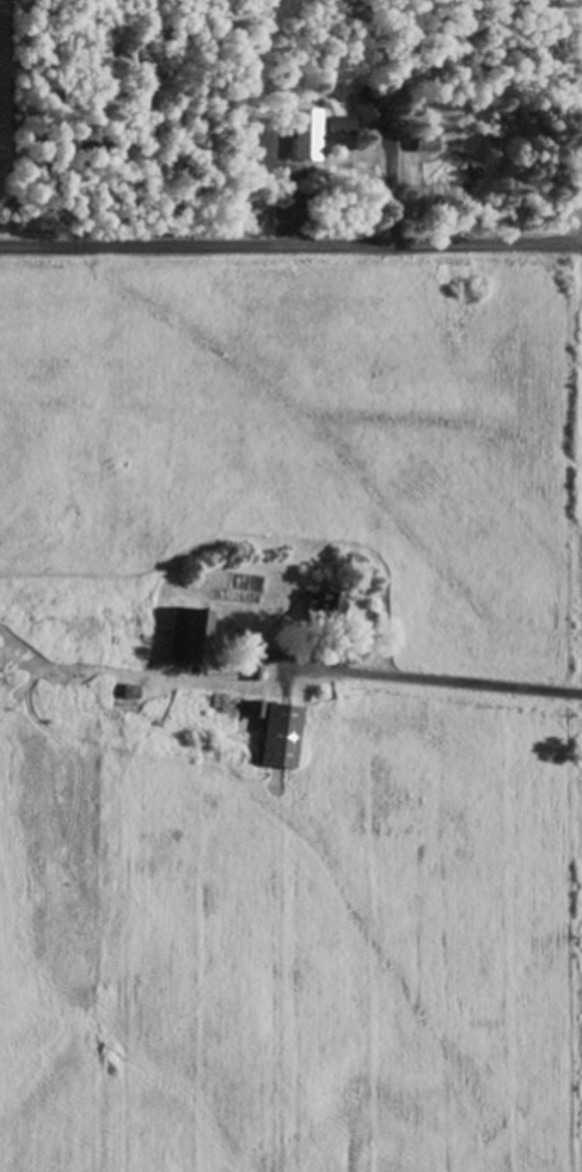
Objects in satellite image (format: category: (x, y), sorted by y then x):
building: (357, 103)
crop: (4, 111)
building: (335, 124)
building: (301, 134)
road: (290, 242)
crop: (306, 428)
building: (307, 606)
building: (182, 635)
building: (274, 734)
crop: (300, 963)

